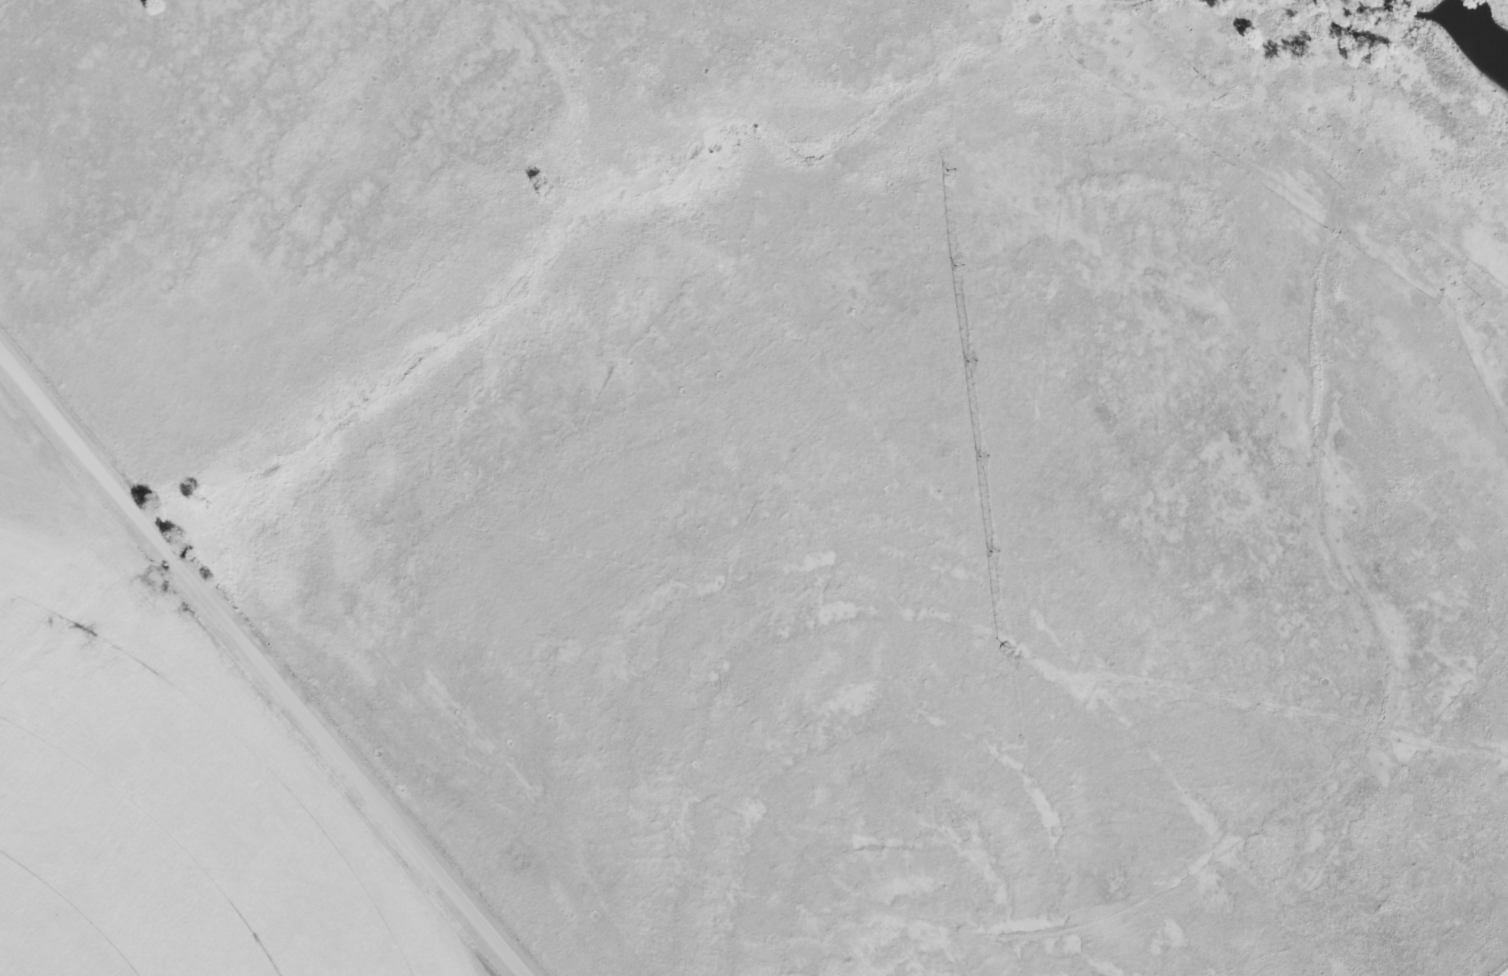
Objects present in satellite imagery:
road: (261, 666)
road: (1507, 975)

